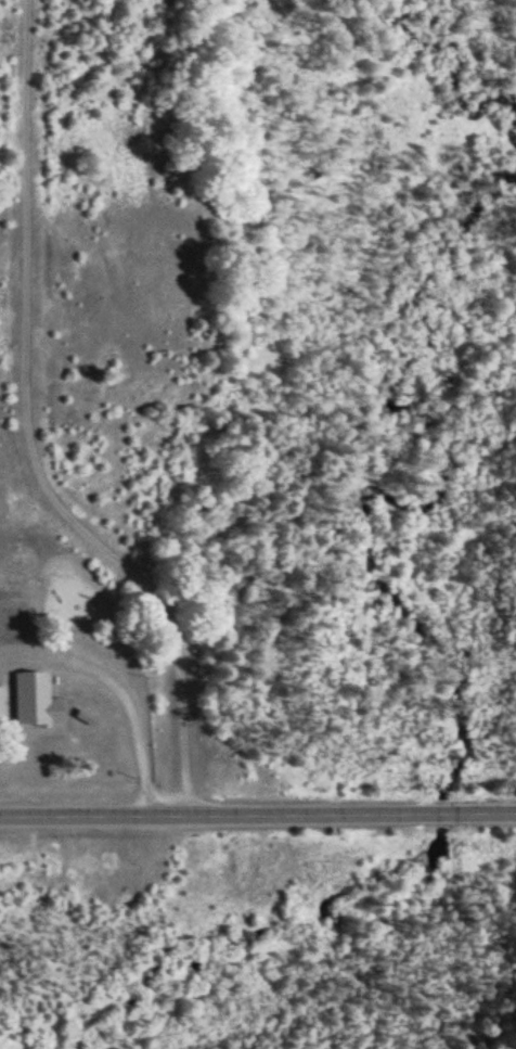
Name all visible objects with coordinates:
road: (41, 434)
building: (39, 699)
building: (3, 702)
road: (258, 810)

